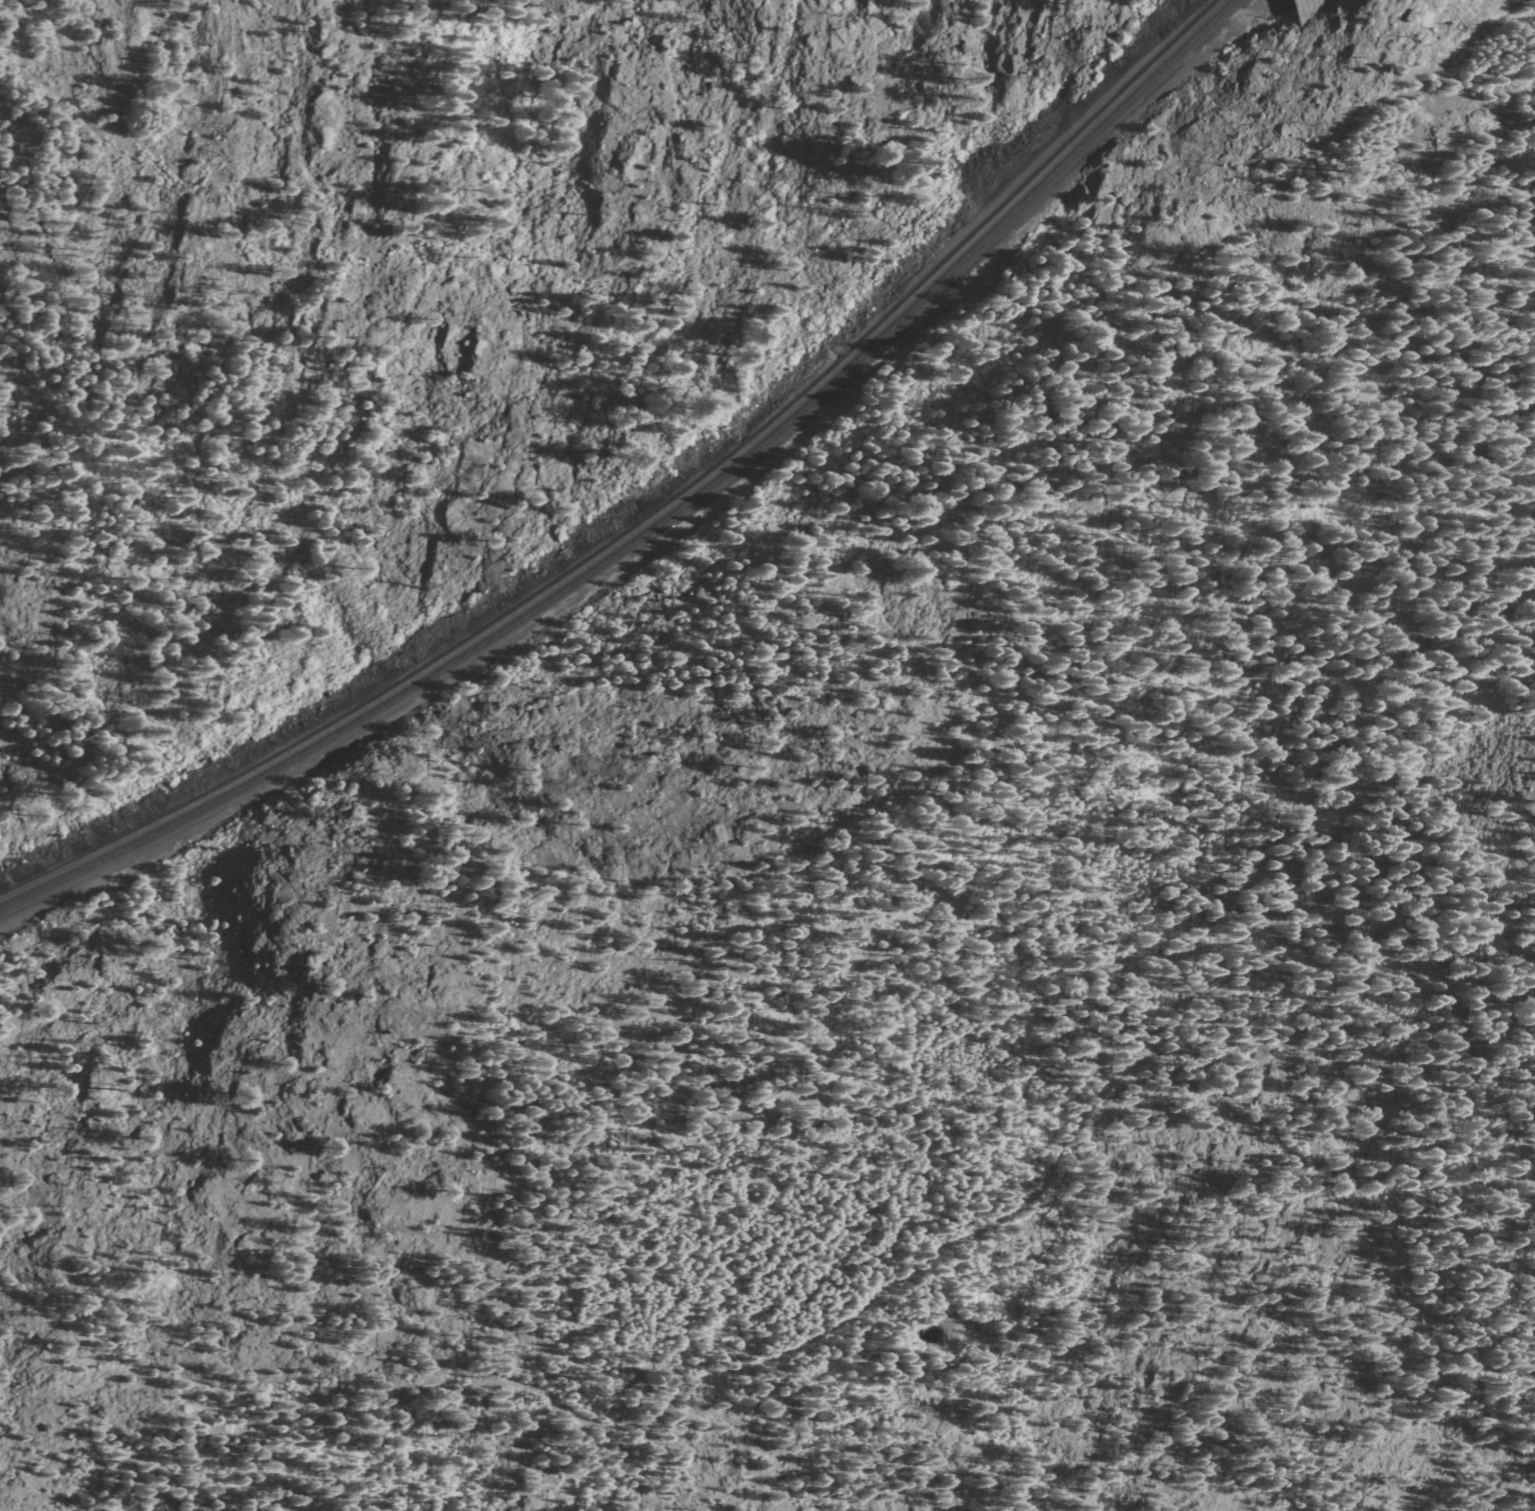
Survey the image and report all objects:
railway: (1321, 12)
railway: (658, 515)
railway: (668, 522)

